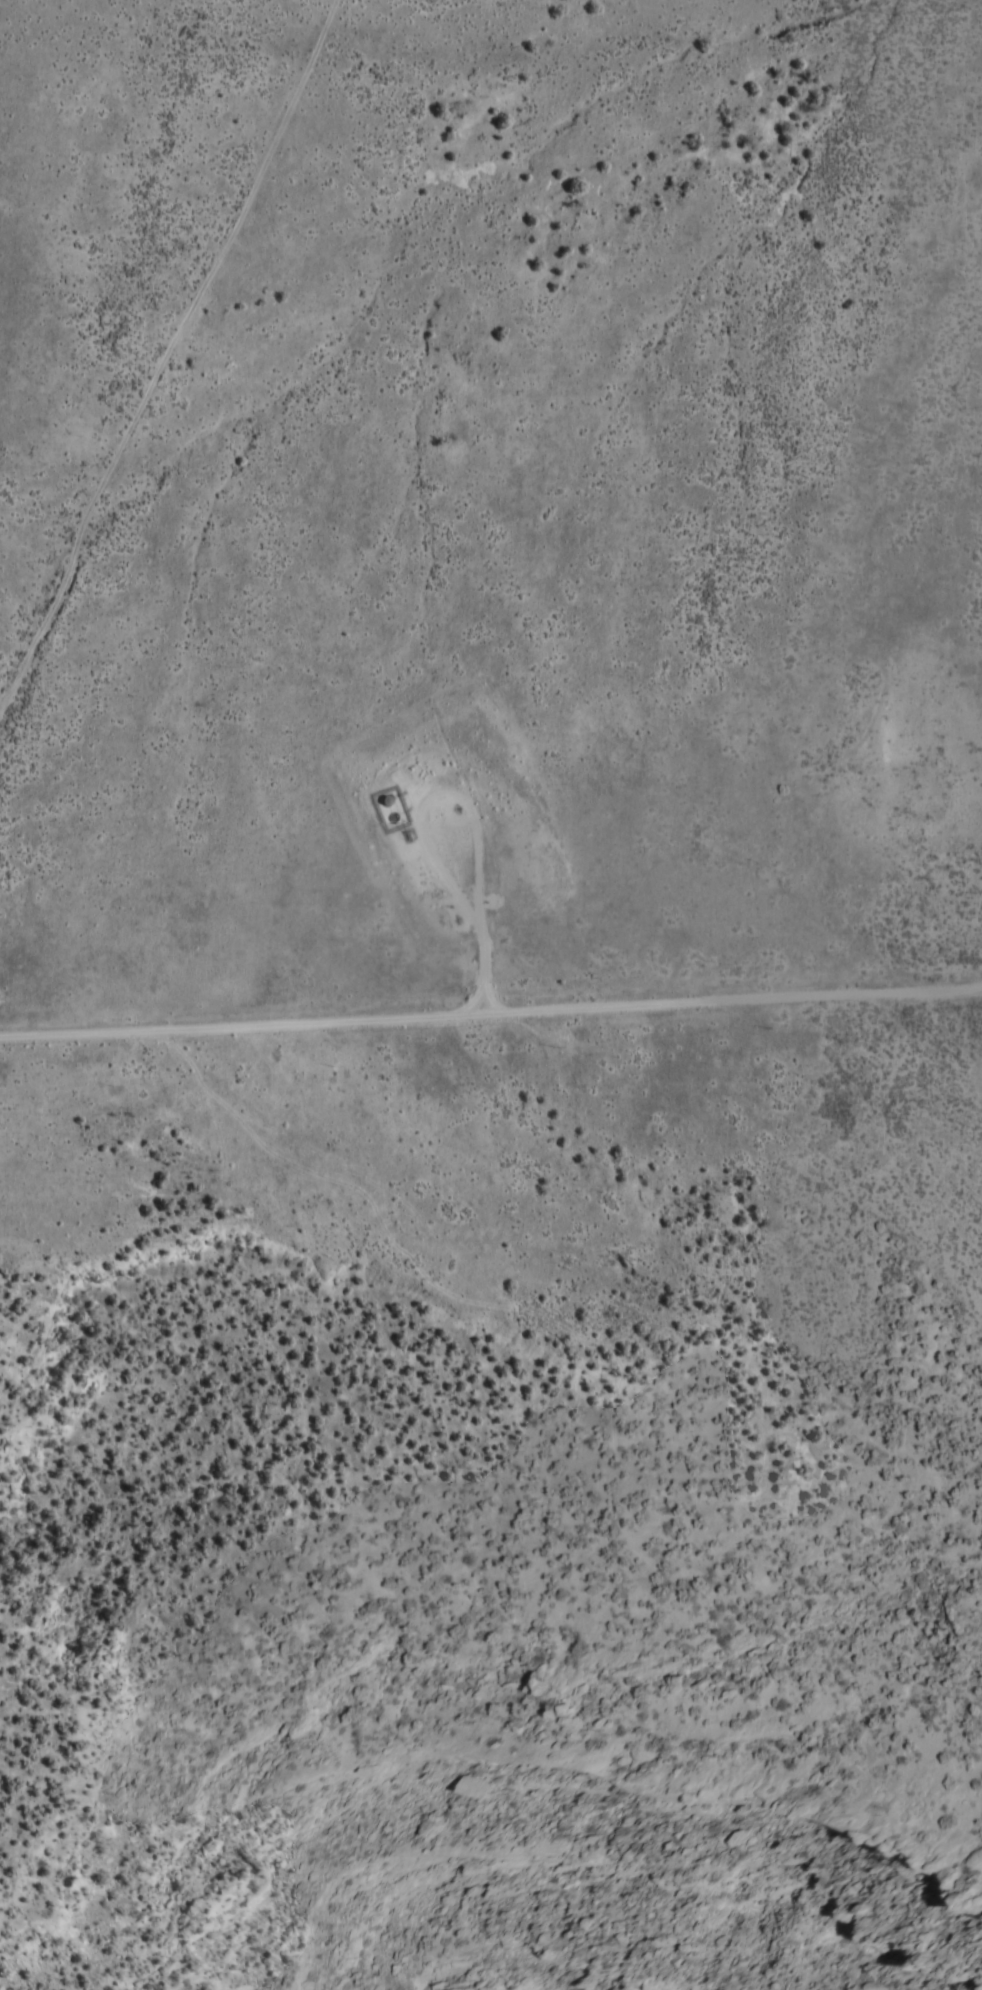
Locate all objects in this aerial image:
road: (491, 973)

